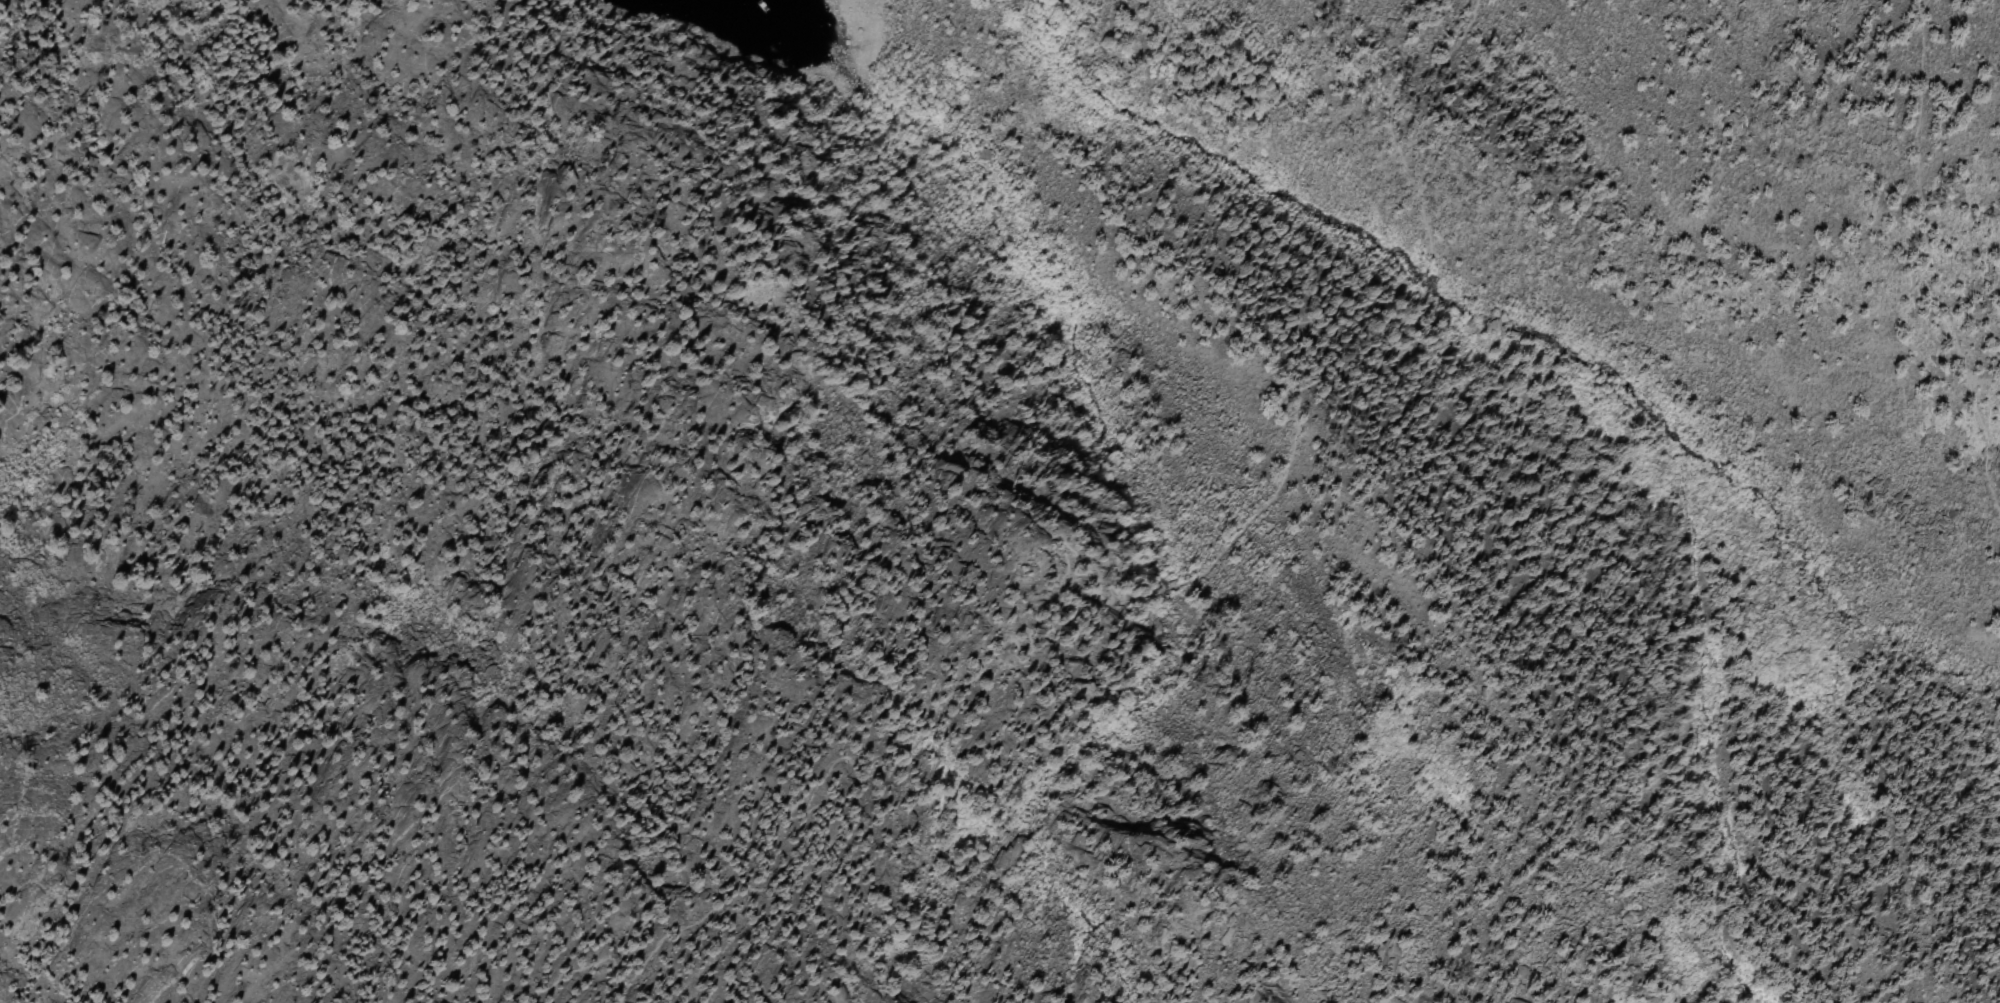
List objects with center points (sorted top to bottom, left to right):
road: (1931, 262)
road: (1105, 598)

